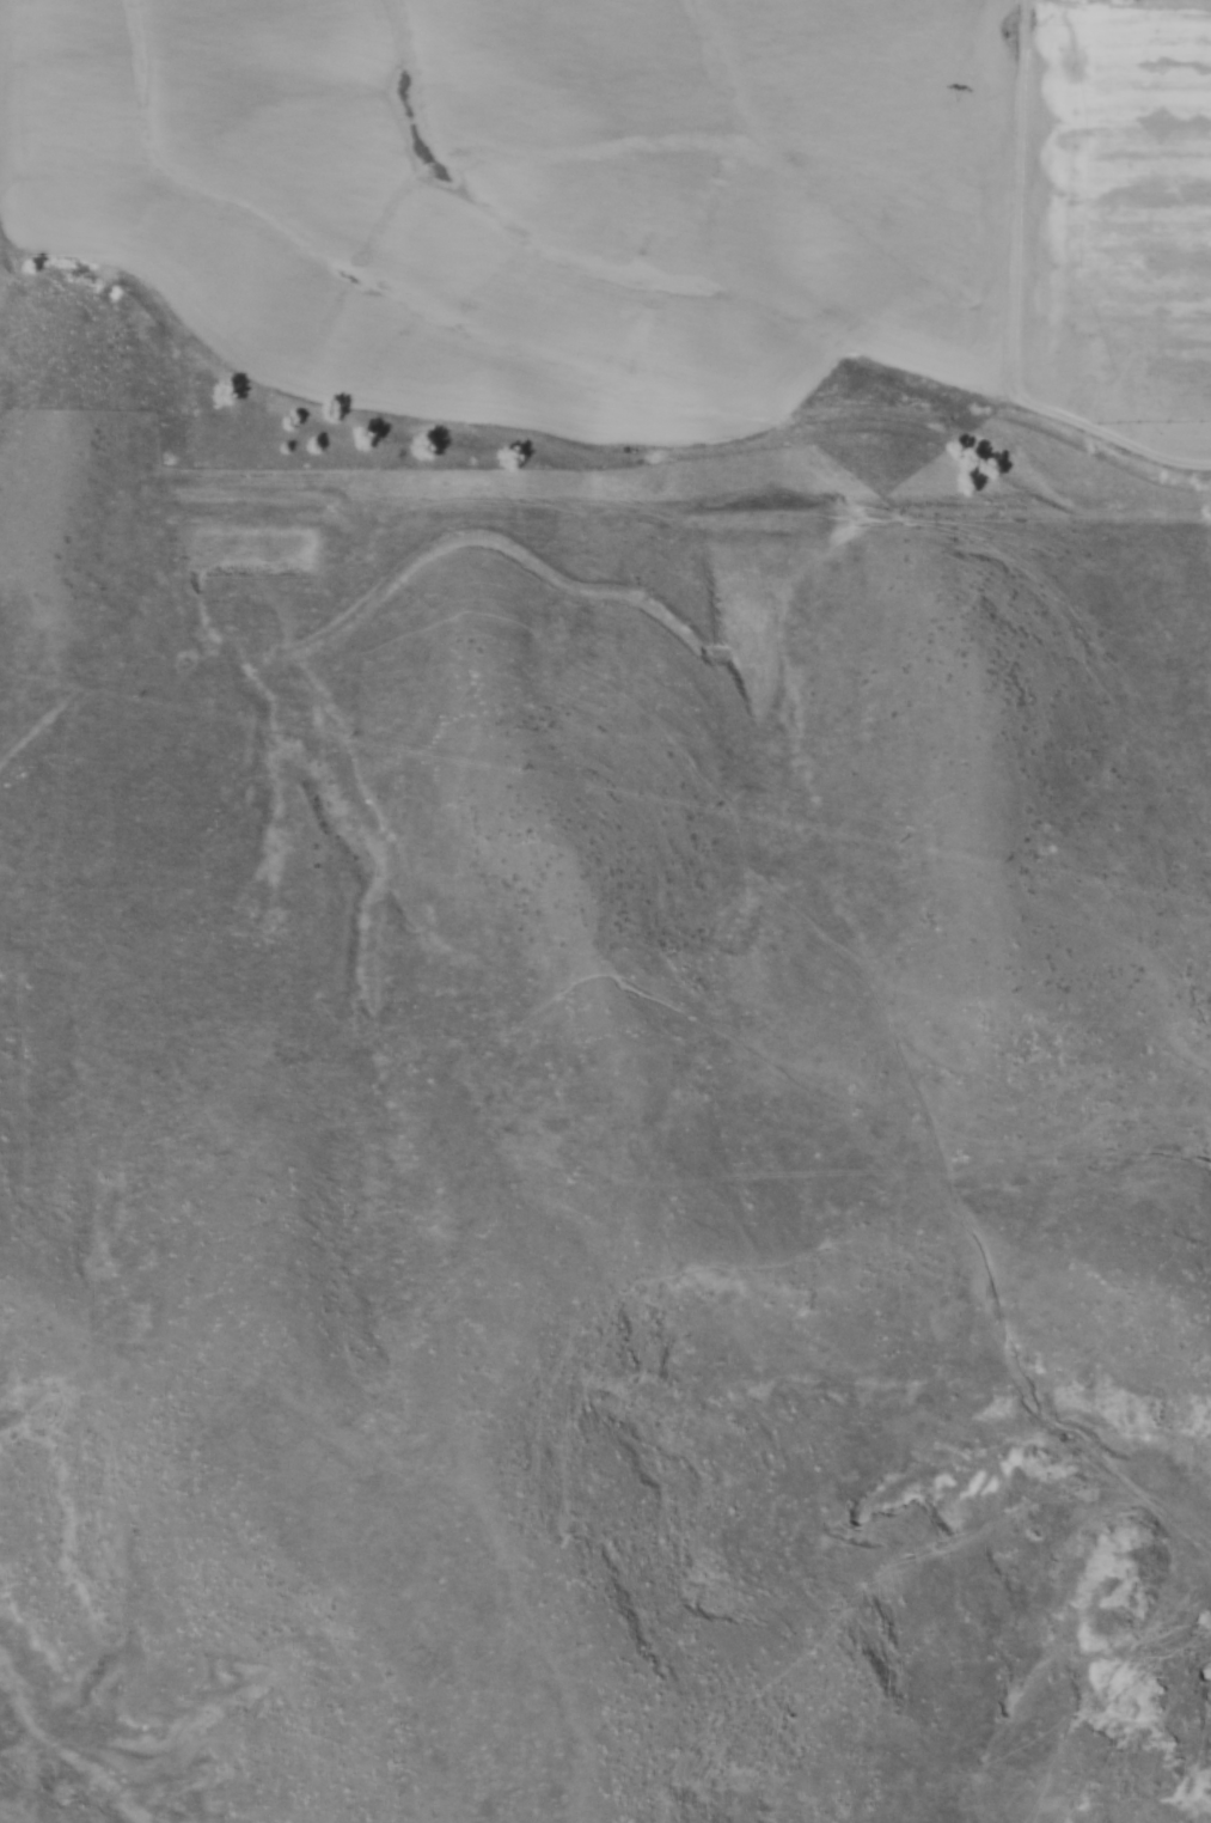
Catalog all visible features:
road: (1021, 300)

